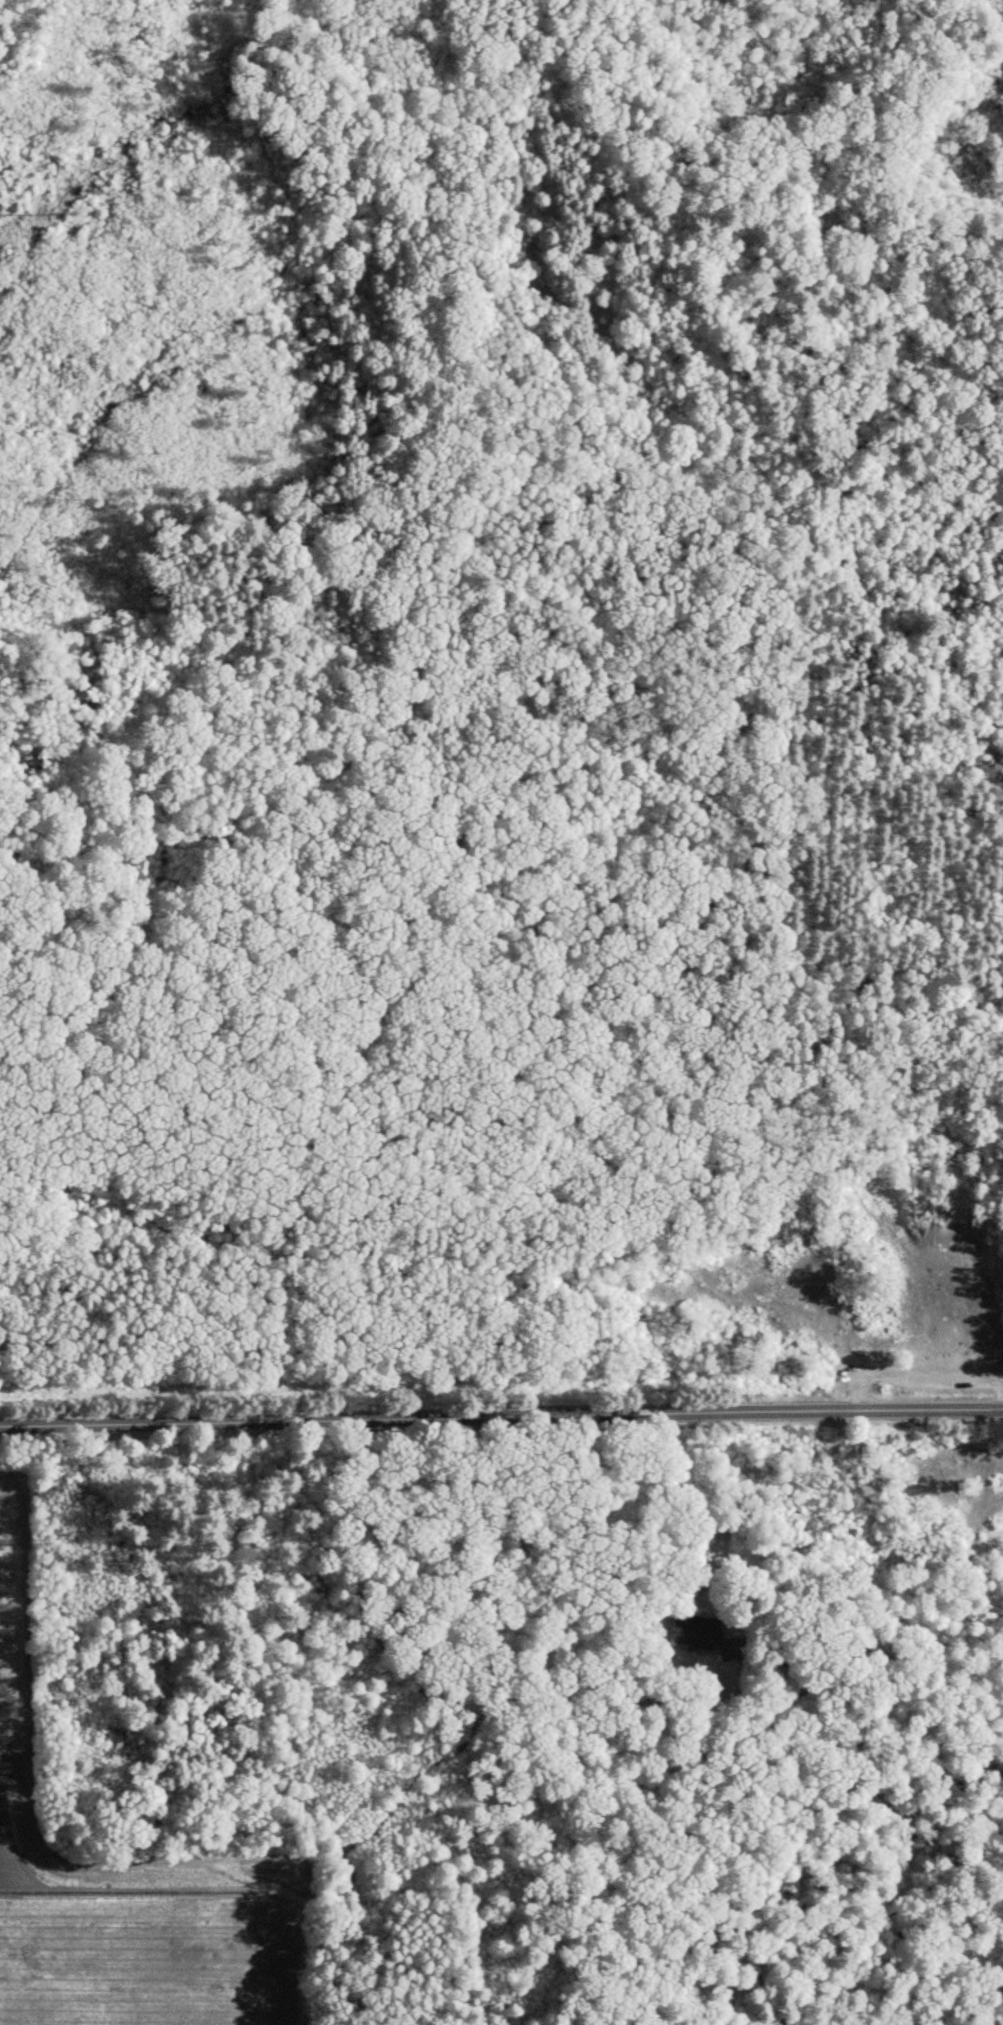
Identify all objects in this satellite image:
road: (501, 1415)
building: (698, 1632)
road: (559, 1634)

